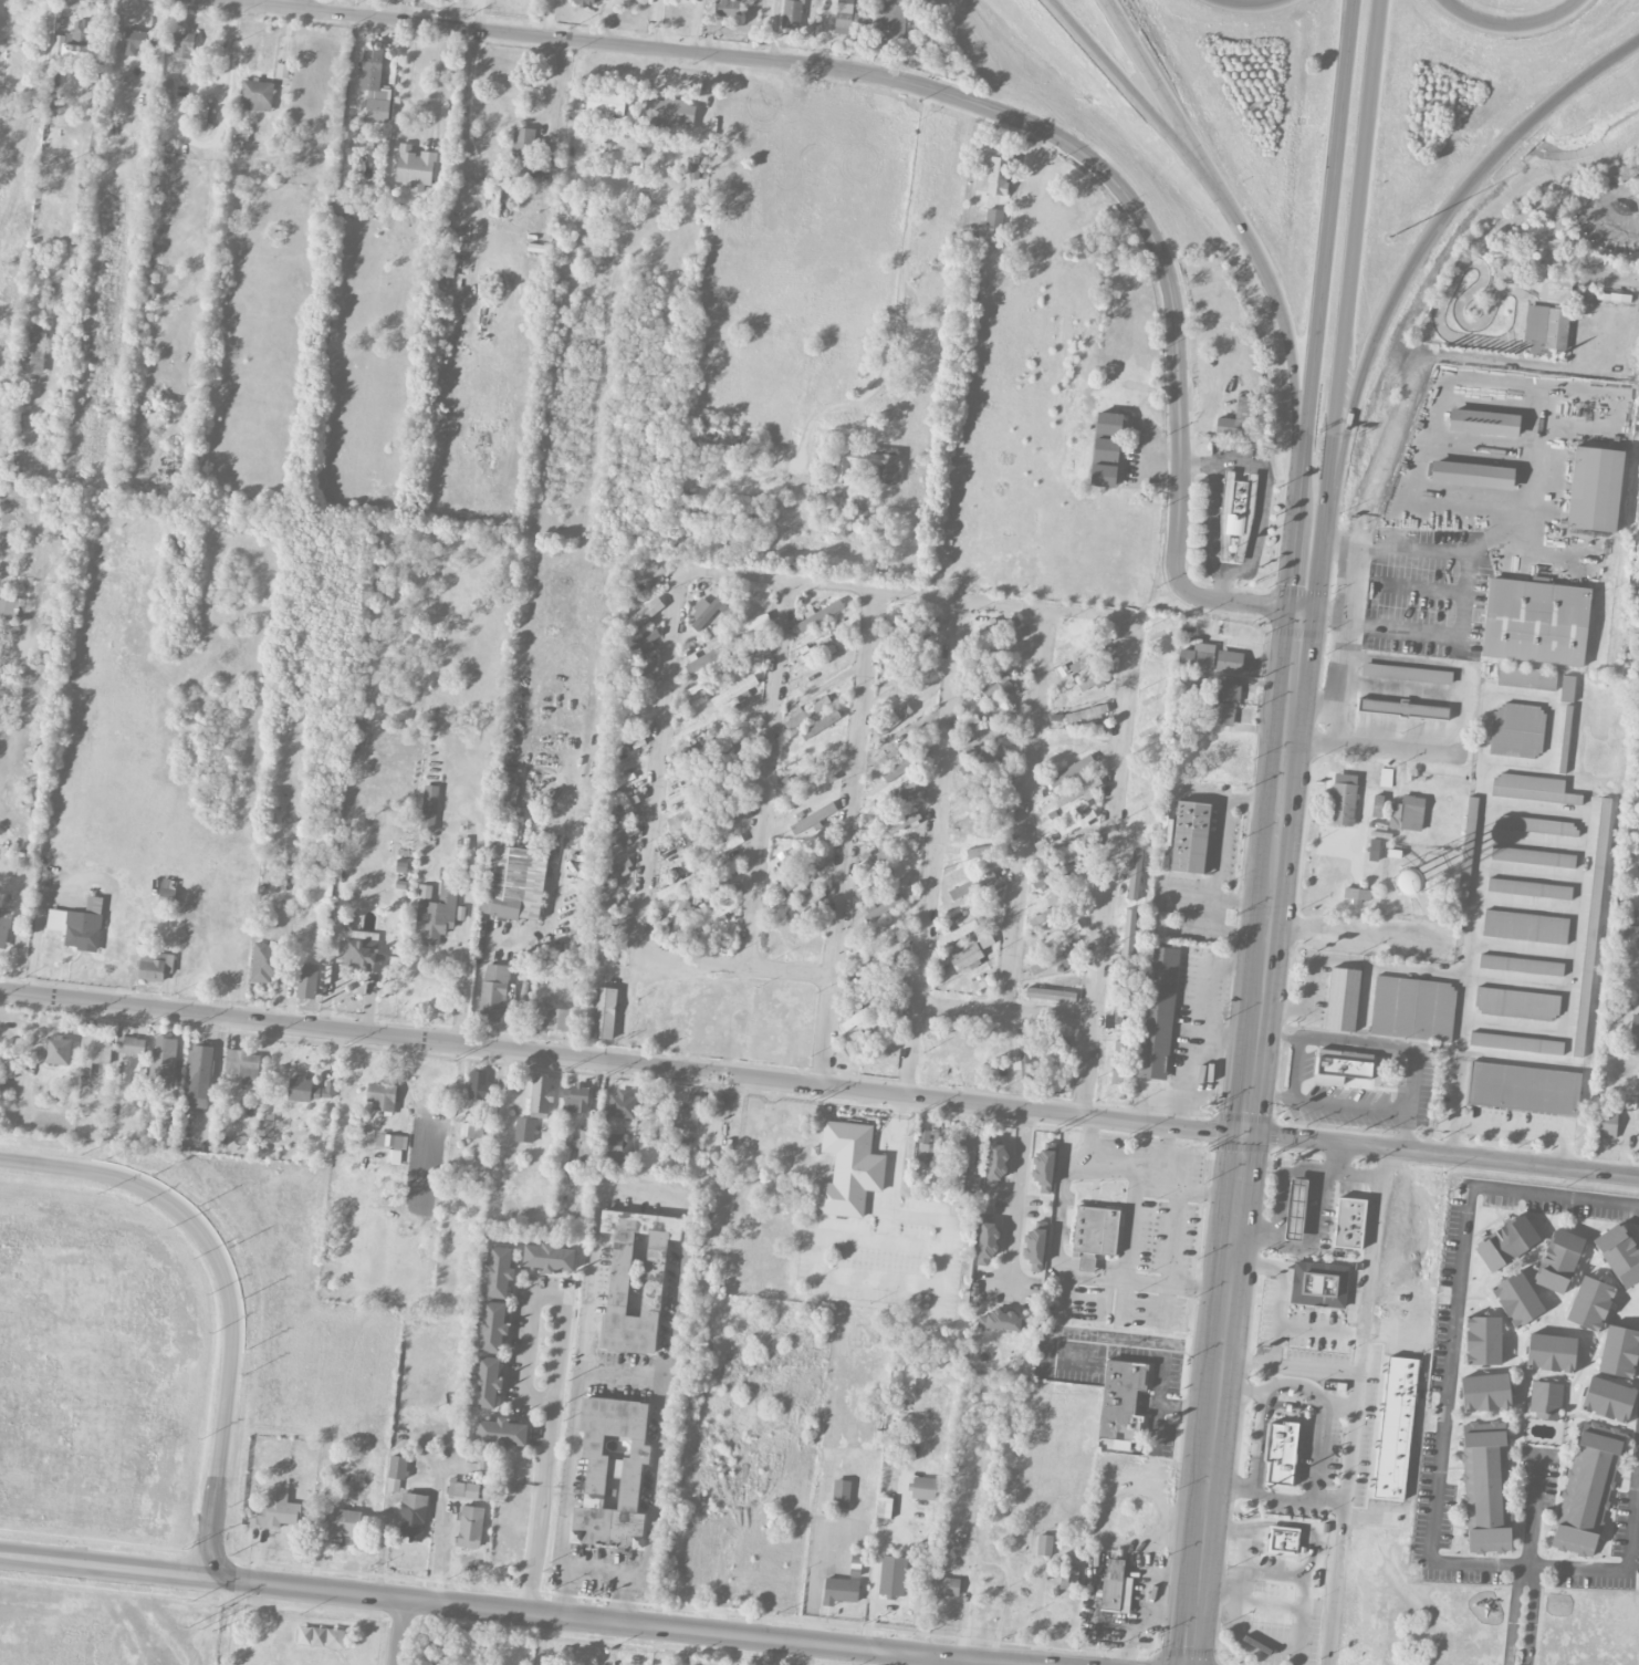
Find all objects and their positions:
building: (584, 2)
road: (1245, 7)
road: (362, 8)
building: (728, 8)
building: (792, 13)
building: (845, 15)
building: (895, 18)
road: (1516, 31)
building: (74, 34)
building: (136, 40)
building: (181, 48)
building: (2, 66)
building: (54, 73)
building: (374, 84)
building: (165, 90)
building: (257, 94)
road: (944, 94)
road: (1136, 96)
road: (1165, 96)
building: (605, 102)
road: (418, 108)
building: (669, 112)
building: (201, 116)
road: (221, 132)
building: (522, 152)
road: (467, 166)
building: (415, 167)
building: (998, 176)
building: (994, 217)
road: (1325, 235)
road: (1418, 260)
road: (1350, 278)
building: (1556, 292)
road: (897, 300)
road: (1285, 323)
building: (1555, 330)
building: (33, 352)
road: (1500, 361)
building: (1483, 422)
building: (1109, 423)
building: (1106, 449)
road: (1385, 454)
building: (869, 462)
building: (1103, 475)
building: (1472, 475)
building: (1594, 488)
road: (1294, 489)
road: (1261, 502)
building: (860, 504)
building: (1236, 507)
road: (1210, 520)
road: (1287, 559)
road: (1308, 582)
road: (1464, 601)
building: (8, 606)
building: (708, 607)
building: (645, 608)
traffic signals: (1298, 608)
building: (818, 615)
building: (1535, 621)
building: (748, 624)
building: (995, 625)
road: (675, 633)
building: (643, 643)
building: (817, 649)
building: (1197, 656)
building: (702, 659)
building: (1087, 659)
building: (1229, 659)
building: (1406, 673)
building: (1526, 676)
building: (993, 681)
building: (1566, 688)
building: (1228, 690)
road: (1343, 694)
building: (1402, 708)
building: (1086, 715)
building: (1221, 716)
building: (892, 718)
building: (819, 725)
building: (1517, 730)
building: (630, 738)
road: (1374, 749)
building: (709, 752)
building: (890, 756)
building: (982, 758)
building: (900, 767)
building: (1071, 770)
road: (766, 773)
road: (1638, 777)
building: (795, 779)
building: (1531, 787)
building: (989, 790)
building: (1077, 790)
building: (687, 791)
building: (1343, 799)
building: (429, 805)
road: (1026, 811)
building: (1407, 813)
building: (728, 815)
building: (813, 818)
building: (896, 821)
building: (1076, 822)
building: (1536, 824)
building: (1192, 836)
building: (618, 837)
road: (848, 839)
road: (1587, 840)
building: (724, 846)
road: (935, 849)
building: (1466, 849)
building: (1533, 855)
building: (1071, 856)
building: (870, 860)
building: (614, 867)
road: (1108, 867)
building: (804, 872)
building: (884, 880)
water tower: (1407, 880)
building: (1405, 881)
building: (514, 882)
building: (972, 884)
building: (1528, 887)
building: (425, 891)
building: (1357, 894)
building: (805, 902)
building: (884, 906)
building: (712, 913)
building: (437, 914)
building: (679, 915)
building: (1158, 923)
building: (1524, 925)
building: (4, 926)
building: (1591, 926)
building: (76, 927)
building: (957, 933)
building: (1128, 933)
road: (1338, 934)
building: (1056, 935)
building: (877, 939)
building: (358, 949)
building: (967, 957)
building: (1052, 959)
building: (268, 961)
building: (1521, 964)
building: (153, 966)
road: (1307, 979)
building: (305, 980)
road: (460, 984)
road: (477, 990)
building: (493, 991)
road: (1366, 991)
building: (1050, 993)
building: (1343, 998)
road: (1462, 1000)
building: (1516, 1002)
building: (1412, 1007)
road: (1005, 1011)
building: (1157, 1011)
building: (604, 1012)
building: (1119, 1014)
building: (551, 1016)
building: (1635, 1029)
road: (1275, 1034)
building: (1044, 1042)
building: (1516, 1042)
building: (871, 1043)
building: (131, 1044)
road: (1406, 1047)
building: (58, 1049)
building: (95, 1050)
building: (1026, 1055)
building: (164, 1057)
building: (243, 1065)
building: (1345, 1066)
building: (198, 1075)
building: (479, 1085)
road: (818, 1086)
building: (1524, 1088)
building: (307, 1089)
road: (1293, 1090)
building: (540, 1095)
building: (382, 1096)
building: (576, 1099)
building: (622, 1103)
road: (1350, 1104)
building: (687, 1113)
building: (1607, 1123)
building: (265, 1127)
building: (467, 1128)
building: (524, 1128)
road: (1507, 1128)
building: (167, 1133)
traffic signals: (1242, 1135)
road: (1241, 1136)
building: (392, 1140)
building: (584, 1141)
building: (614, 1145)
building: (971, 1152)
building: (394, 1155)
building: (996, 1163)
road: (1124, 1163)
building: (848, 1168)
building: (1043, 1169)
building: (971, 1182)
road: (1192, 1191)
road: (648, 1197)
road: (1015, 1204)
building: (1295, 1209)
building: (1349, 1222)
road: (885, 1228)
building: (1094, 1232)
building: (988, 1241)
building: (1506, 1241)
building: (1034, 1248)
building: (1619, 1253)
building: (549, 1257)
building: (1558, 1259)
road: (1168, 1263)
building: (498, 1271)
building: (636, 1277)
building: (1318, 1283)
road: (920, 1287)
road: (1283, 1289)
road: (229, 1291)
building: (1516, 1298)
building: (1590, 1302)
building: (1000, 1320)
building: (492, 1328)
road: (1322, 1330)
building: (1482, 1339)
building: (1618, 1350)
building: (1551, 1351)
road: (1288, 1364)
road: (624, 1374)
road: (556, 1375)
building: (908, 1380)
building: (486, 1382)
building: (1485, 1391)
building: (1607, 1397)
road: (1338, 1398)
building: (1545, 1398)
building: (1121, 1403)
road: (1356, 1407)
road: (1318, 1419)
building: (1395, 1426)
road: (1443, 1428)
building: (501, 1432)
building: (1281, 1450)
road: (1255, 1463)
building: (398, 1466)
building: (612, 1471)
building: (394, 1485)
building: (1485, 1486)
building: (923, 1487)
building: (1587, 1487)
building: (463, 1488)
building: (841, 1494)
road: (1329, 1495)
building: (884, 1507)
building: (275, 1511)
road: (1534, 1515)
building: (413, 1516)
building: (345, 1521)
building: (470, 1526)
building: (1282, 1539)
road: (1314, 1540)
building: (1044, 1544)
road: (104, 1564)
road: (1240, 1567)
road: (1526, 1571)
road: (599, 1572)
building: (892, 1575)
building: (1068, 1576)
building: (1115, 1583)
building: (948, 1585)
building: (839, 1590)
road: (616, 1621)
road: (226, 1622)
road: (1239, 1628)
road: (400, 1631)
road: (910, 1658)

